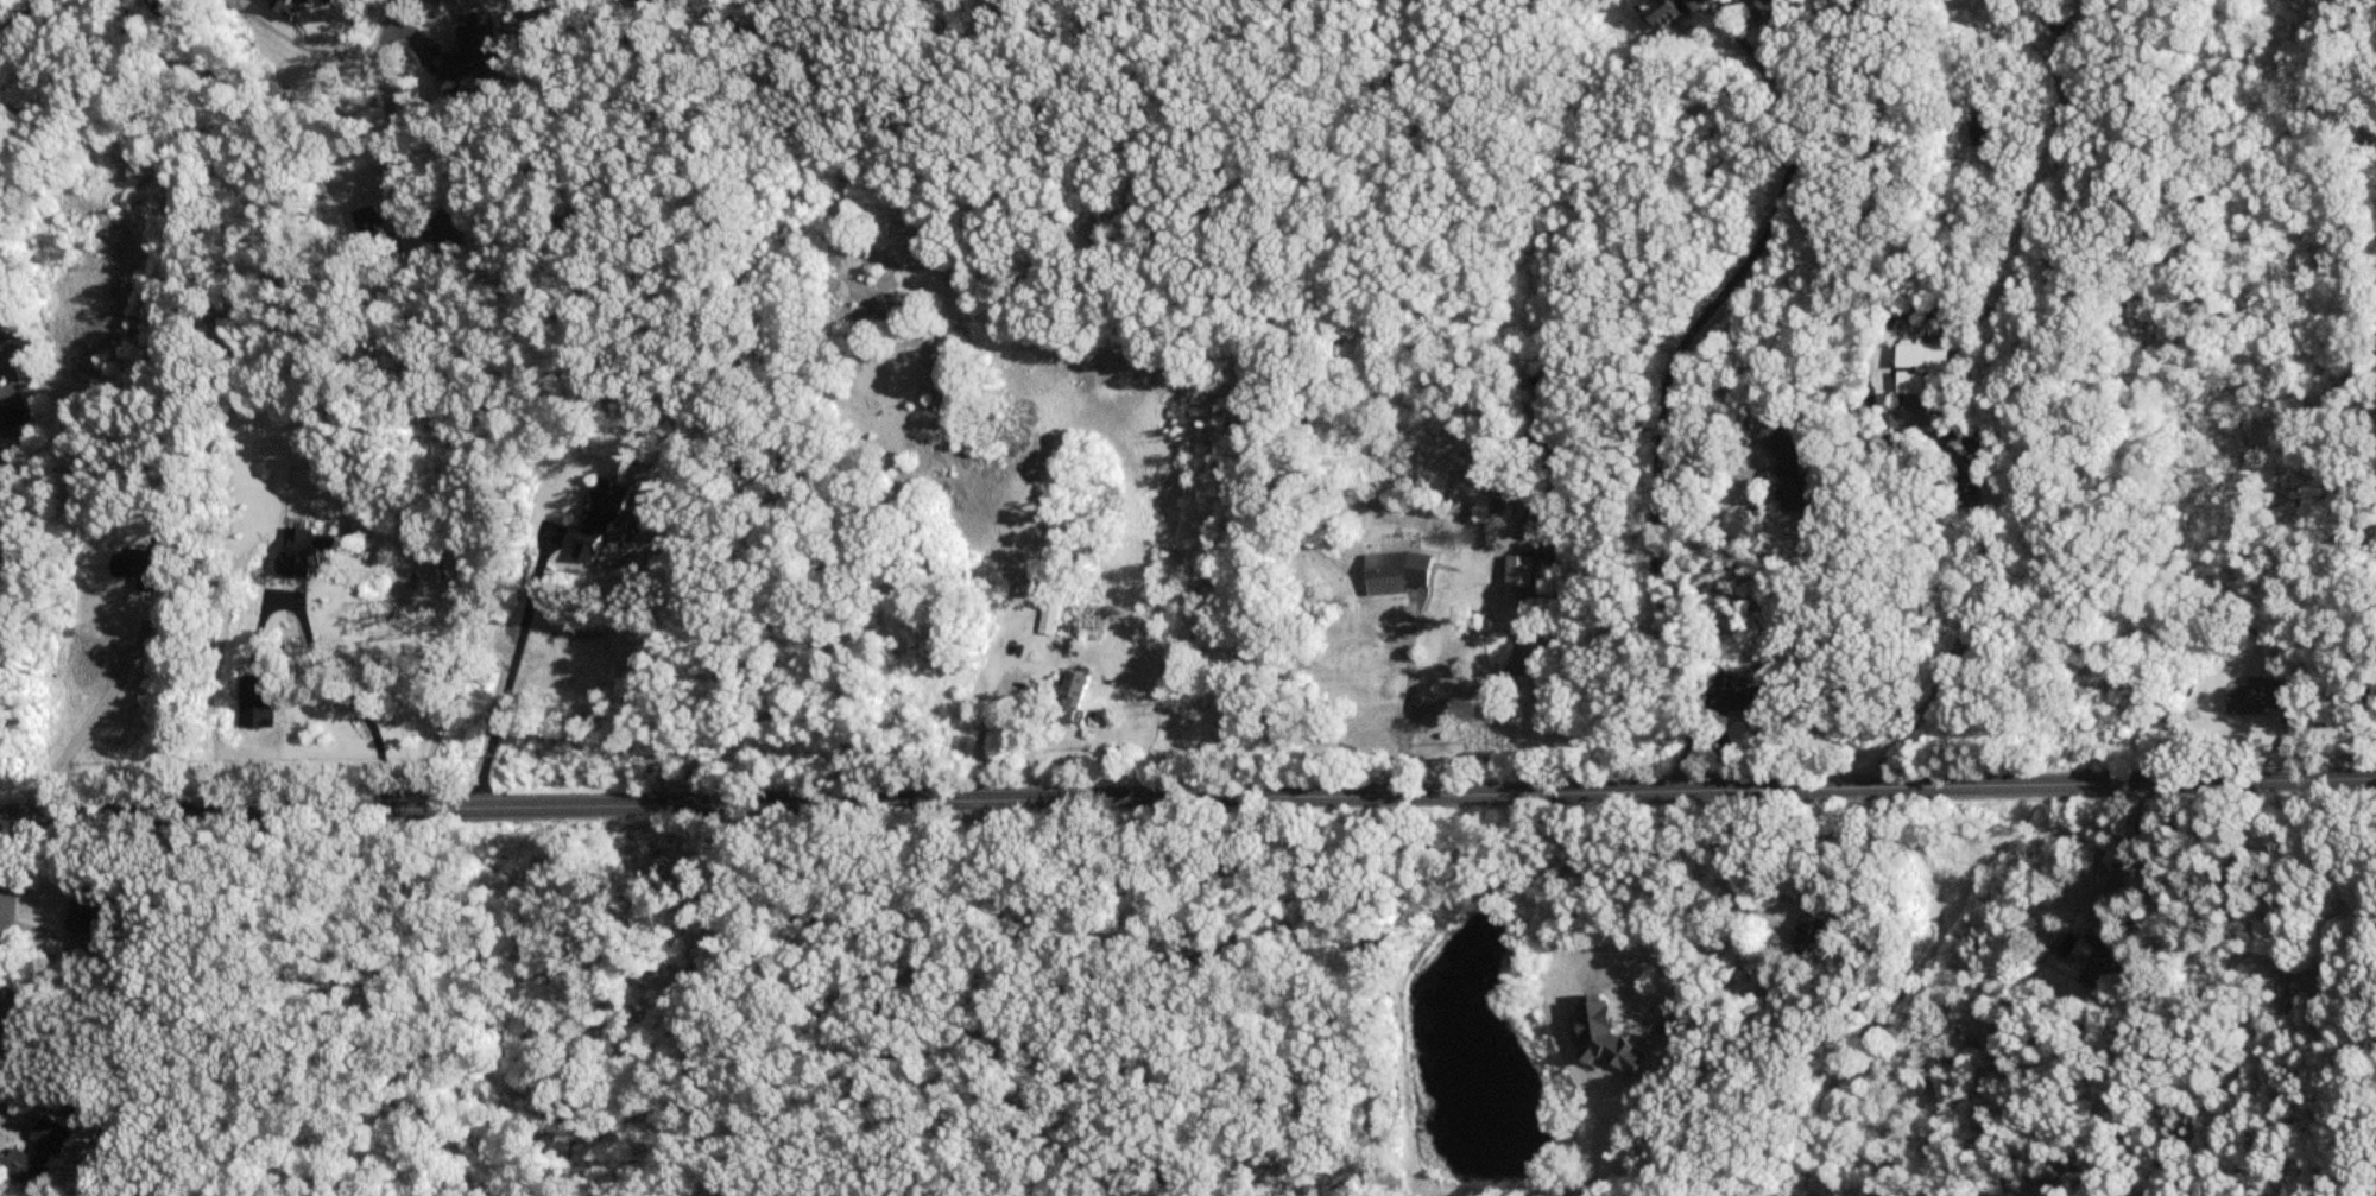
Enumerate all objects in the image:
building: (1666, 12)
road: (403, 17)
road: (24, 21)
road: (2046, 40)
road: (48, 65)
building: (1983, 132)
building: (1916, 366)
road: (1664, 381)
road: (2005, 412)
building: (8, 422)
building: (1788, 461)
road: (461, 520)
road: (1704, 525)
building: (1515, 571)
building: (1390, 572)
building: (1048, 619)
road: (508, 670)
road: (1485, 679)
road: (1405, 692)
building: (1075, 697)
building: (2262, 700)
road: (350, 702)
building: (1744, 702)
road: (91, 713)
road: (1188, 798)
road: (2125, 854)
road: (2, 855)
road: (1731, 911)
building: (82, 916)
building: (1806, 935)
building: (2099, 966)
road: (1062, 988)
building: (1599, 1037)
building: (39, 1153)

